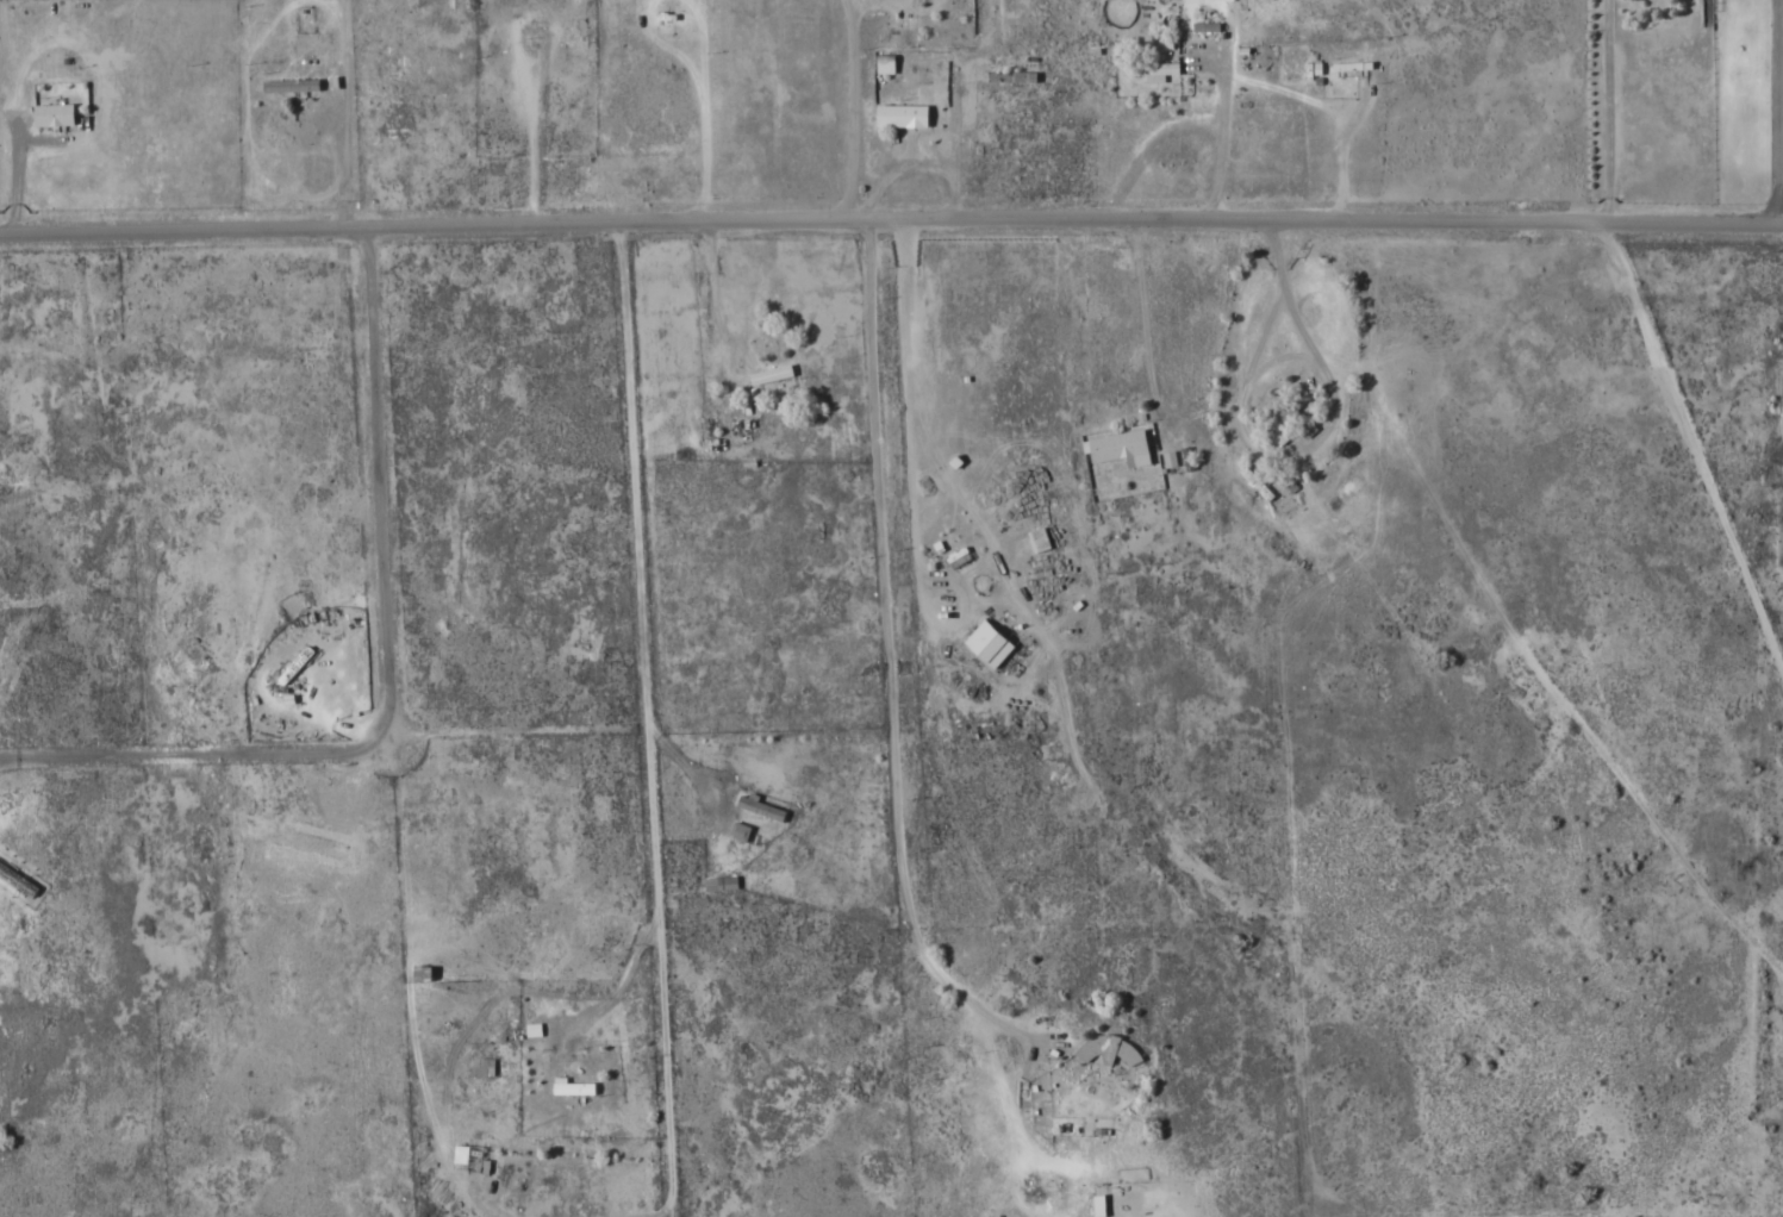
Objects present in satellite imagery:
building: (1352, 67)
building: (1011, 76)
building: (291, 86)
road: (858, 110)
building: (54, 116)
building: (902, 116)
road: (891, 218)
building: (771, 373)
building: (1285, 417)
road: (1696, 441)
building: (1120, 447)
road: (889, 567)
building: (297, 663)
road: (650, 714)
road: (744, 718)
road: (799, 719)
building: (761, 806)
building: (740, 830)
building: (719, 882)
road: (889, 953)
building: (1106, 1048)
building: (481, 1066)
building: (573, 1086)
building: (478, 1165)

